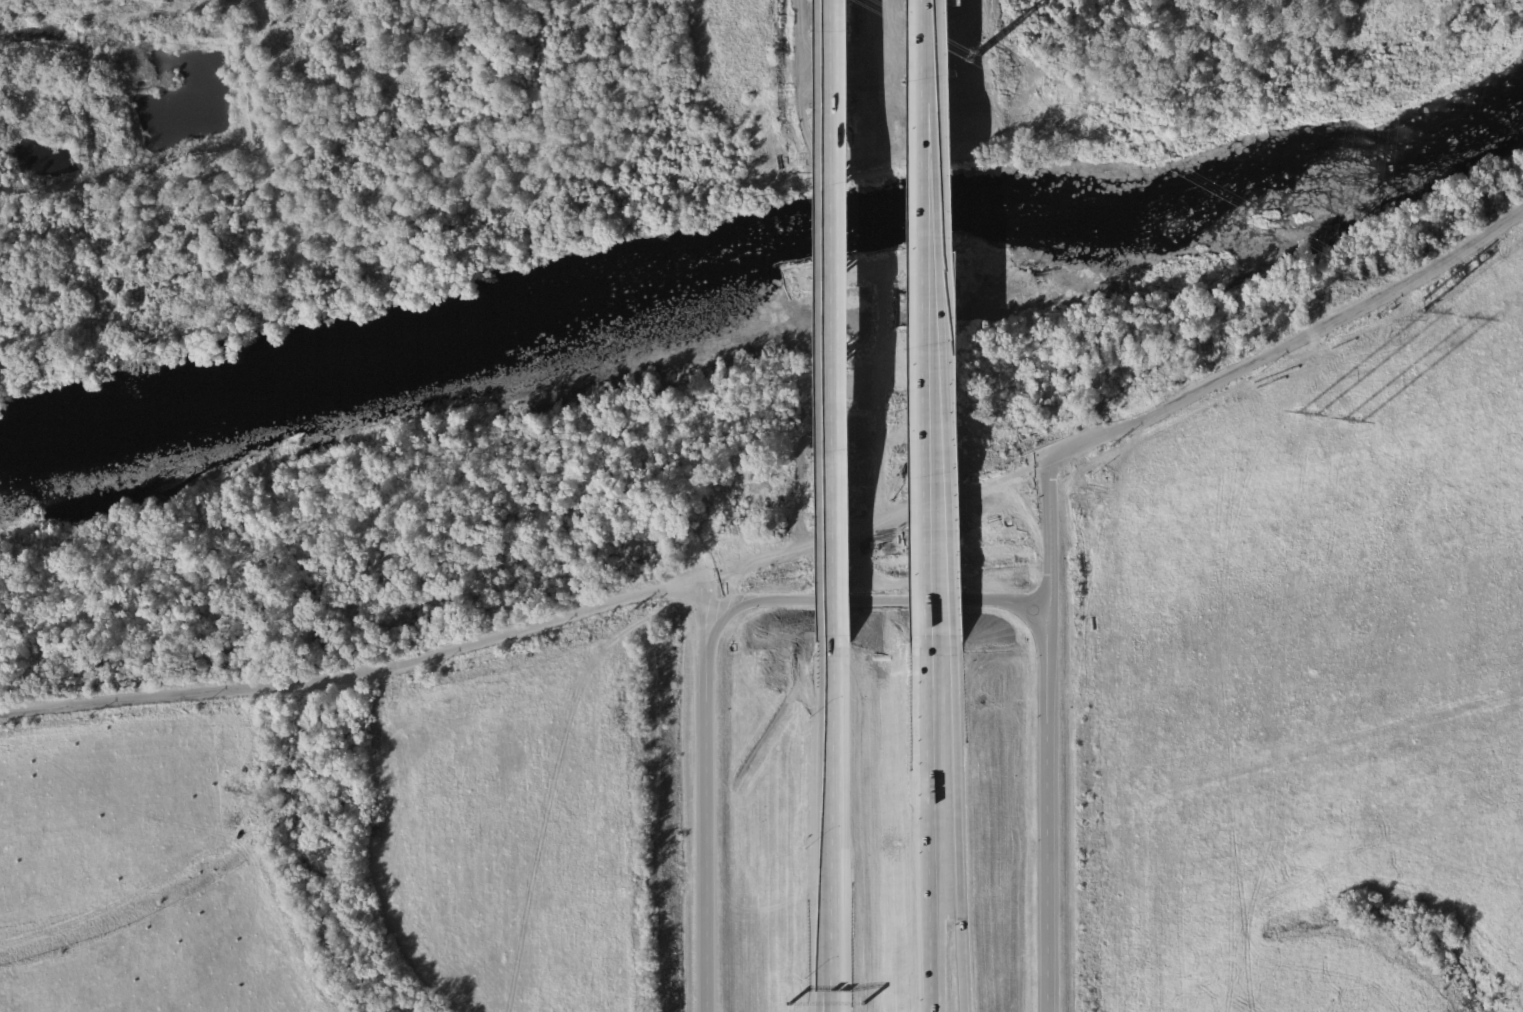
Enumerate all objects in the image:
power tower: (971, 60)
river: (766, 268)
power tower: (1423, 307)
road: (934, 323)
road: (827, 325)
road: (1269, 356)
power tower: (1331, 418)
road: (1048, 547)
road: (867, 602)
road: (574, 617)
road: (210, 689)
road: (829, 791)
road: (705, 795)
road: (1051, 827)
road: (955, 828)
road: (940, 829)
road: (827, 971)
road: (831, 971)

